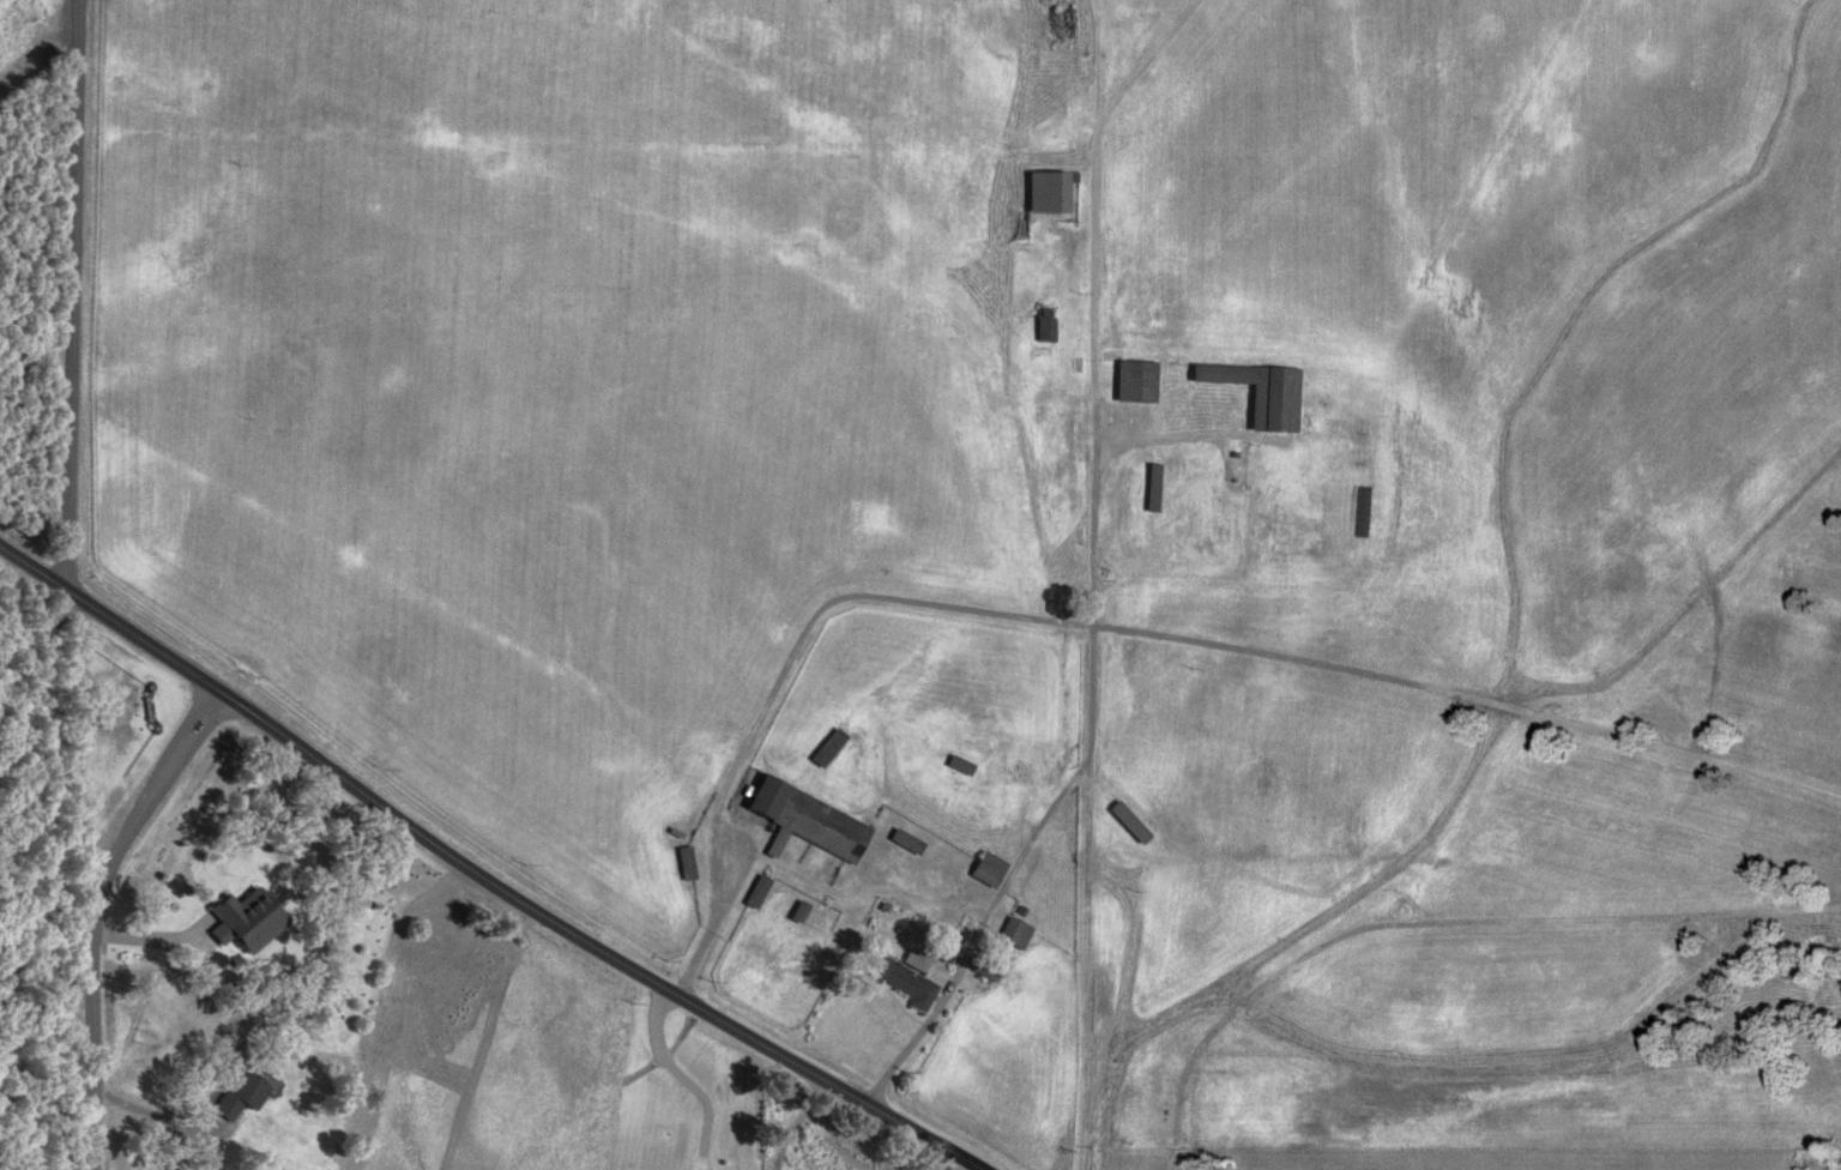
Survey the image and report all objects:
building: (1050, 192)
road: (77, 291)
building: (1045, 325)
building: (1136, 381)
building: (1261, 393)
building: (1079, 439)
building: (1153, 488)
building: (1362, 512)
road: (1080, 759)
building: (960, 765)
building: (1127, 820)
building: (808, 821)
building: (905, 842)
building: (686, 863)
building: (988, 869)
road: (482, 873)
road: (1443, 874)
road: (93, 912)
building: (1015, 933)
building: (988, 967)
building: (900, 981)
road: (1489, 1057)
building: (1137, 1086)
building: (242, 1094)
building: (1576, 1105)
building: (1152, 1136)

